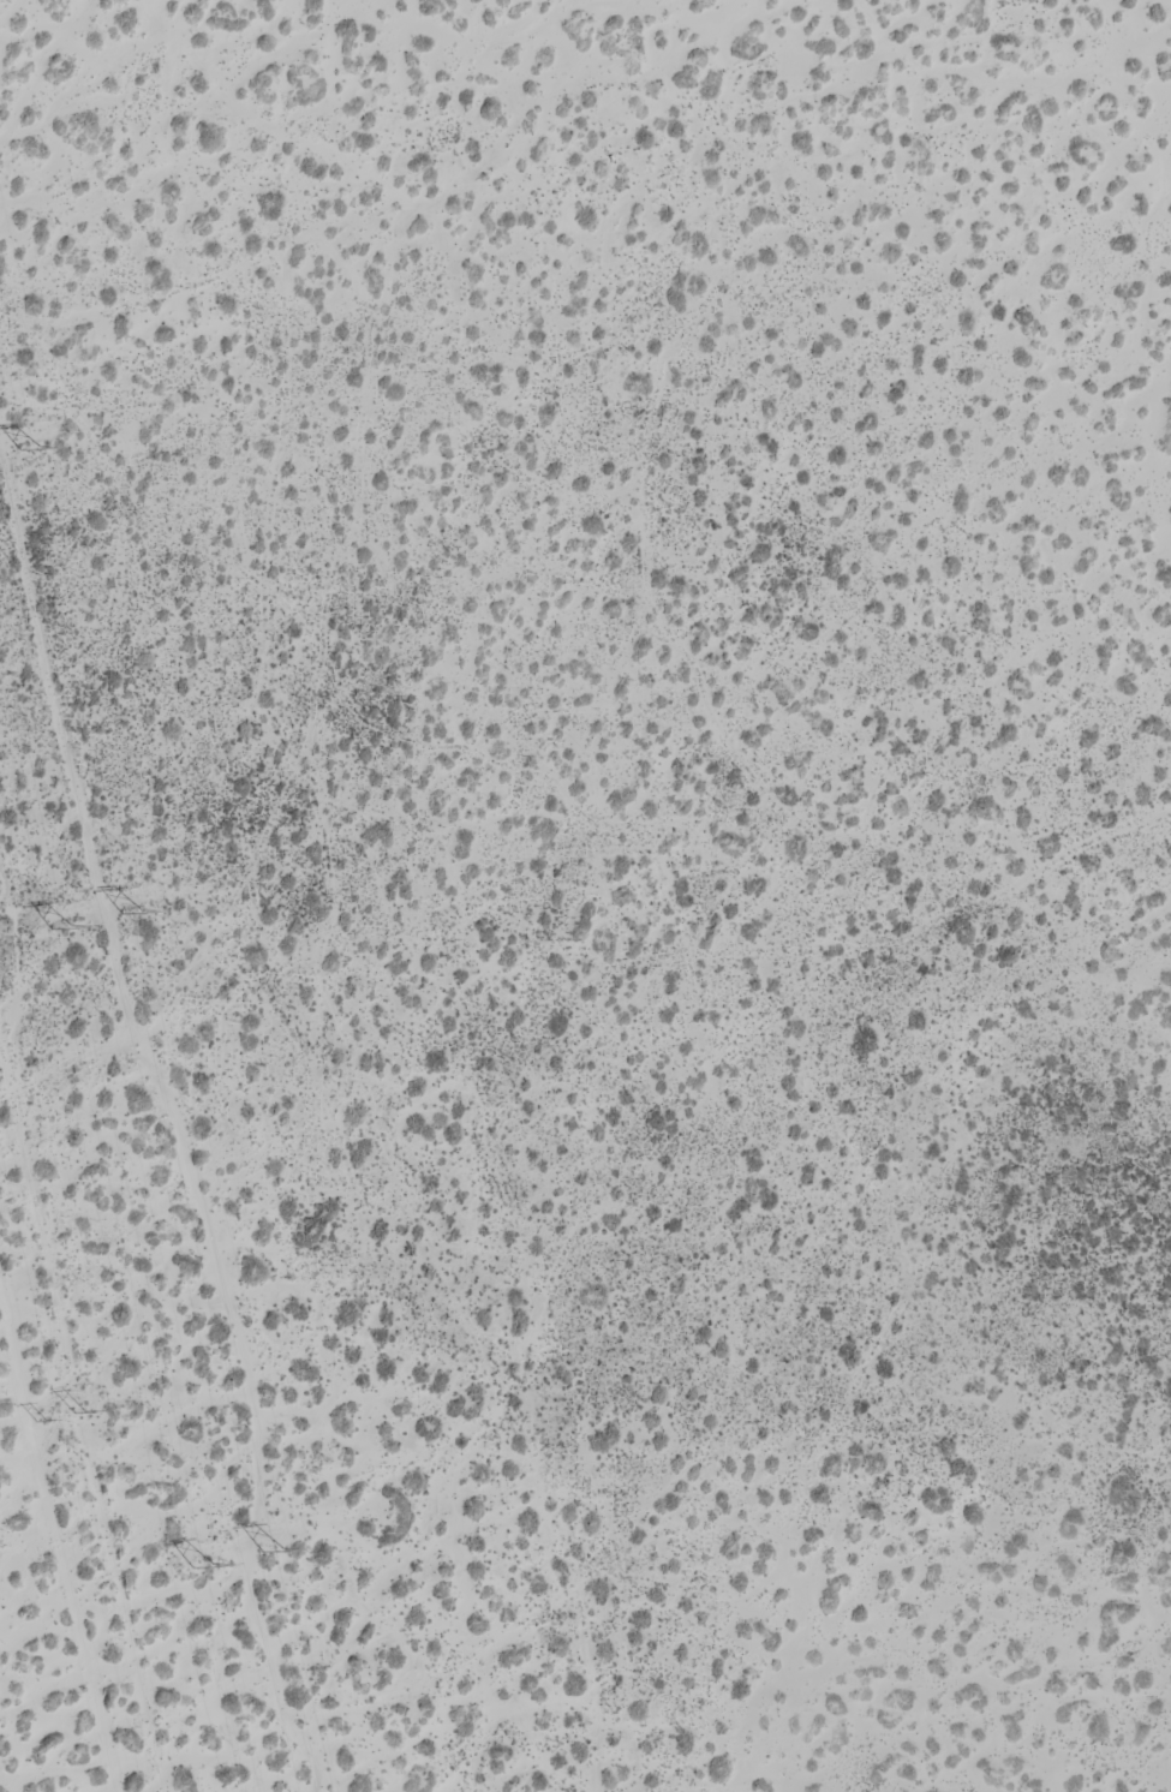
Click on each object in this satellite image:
power tower: (26, 448)
power tower: (130, 904)
power tower: (61, 924)
power tower: (273, 1548)
power tower: (199, 1564)

